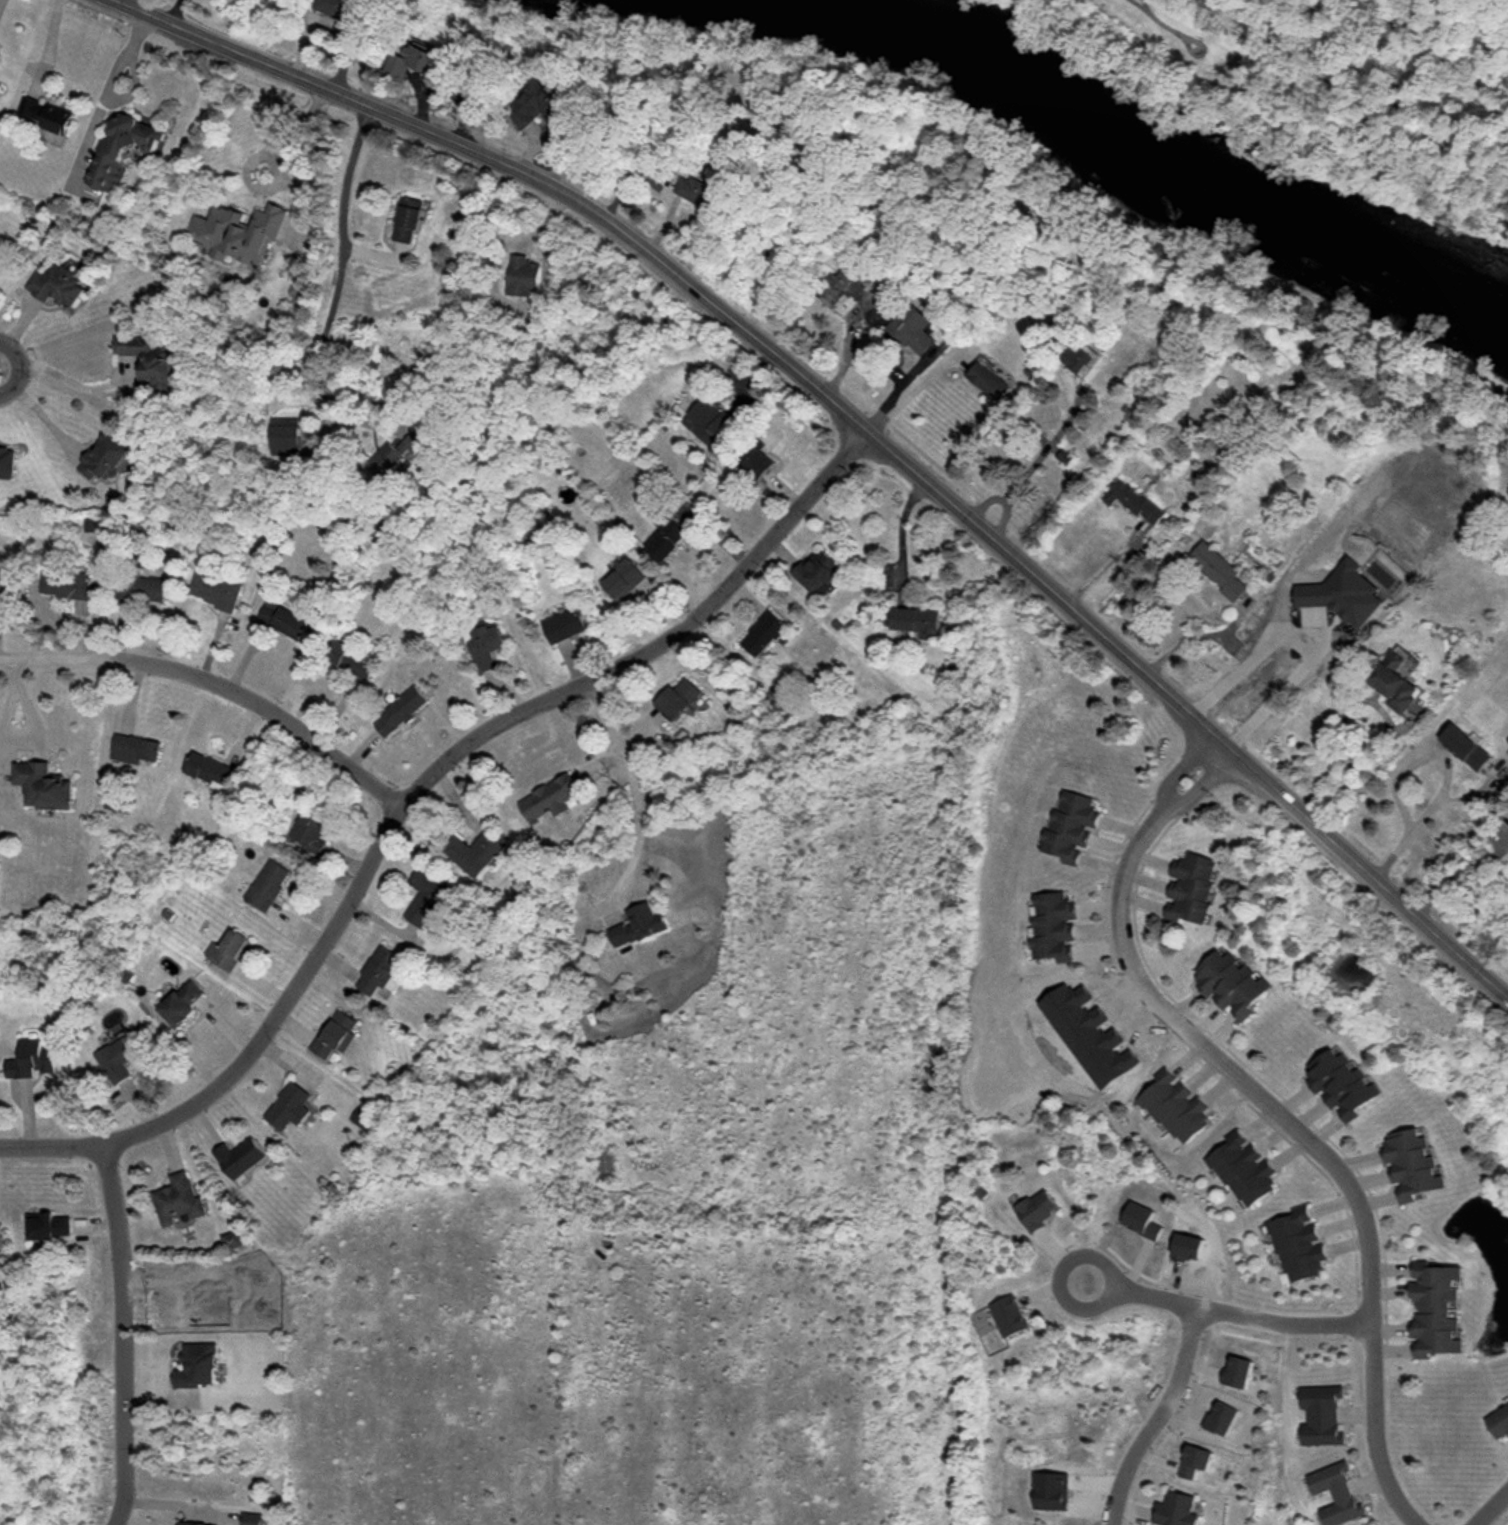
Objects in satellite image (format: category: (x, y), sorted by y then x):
road: (123, 2)
road: (175, 12)
building: (342, 16)
road: (47, 46)
park: (1190, 46)
building: (413, 63)
building: (534, 105)
building: (45, 116)
road: (288, 129)
building: (120, 150)
river: (1165, 157)
building: (701, 196)
building: (406, 220)
building: (237, 232)
road: (338, 262)
building: (523, 278)
building: (59, 287)
building: (297, 294)
building: (853, 294)
building: (911, 330)
building: (1074, 360)
building: (152, 361)
road: (62, 378)
building: (985, 380)
road: (919, 387)
road: (36, 411)
building: (709, 424)
road: (862, 424)
building: (282, 437)
road: (1045, 450)
building: (394, 456)
building: (107, 458)
building: (757, 459)
building: (8, 464)
road: (1003, 502)
building: (1132, 502)
building: (89, 524)
building: (671, 532)
road: (900, 533)
road: (1104, 565)
building: (1217, 571)
building: (820, 572)
building: (626, 581)
building: (66, 586)
building: (2, 587)
building: (143, 587)
building: (217, 591)
building: (1343, 594)
building: (287, 622)
building: (915, 622)
building: (567, 627)
building: (765, 635)
road: (1305, 645)
road: (1185, 646)
building: (488, 648)
building: (352, 661)
road: (214, 681)
building: (1392, 684)
building: (682, 699)
building: (403, 713)
road: (1387, 726)
road: (27, 732)
building: (1507, 740)
building: (1507, 742)
building: (1464, 748)
building: (137, 751)
road: (1176, 765)
building: (211, 772)
road: (1445, 780)
road: (1196, 784)
road: (410, 785)
building: (44, 787)
road: (632, 788)
building: (553, 800)
building: (310, 829)
building: (1067, 829)
building: (477, 852)
road: (1457, 874)
building: (269, 886)
building: (1190, 889)
building: (427, 896)
building: (1049, 925)
building: (639, 927)
building: (230, 952)
building: (382, 975)
building: (1230, 979)
building: (185, 1007)
building: (337, 1035)
building: (125, 1055)
building: (34, 1062)
building: (1337, 1083)
building: (1169, 1102)
building: (291, 1108)
building: (362, 1118)
road: (1302, 1137)
building: (242, 1158)
building: (608, 1168)
building: (1411, 1168)
building: (1238, 1169)
building: (181, 1202)
building: (1029, 1210)
building: (52, 1229)
building: (232, 1240)
building: (1296, 1242)
crop: (678, 1248)
road: (1152, 1296)
building: (1436, 1309)
building: (1003, 1313)
road: (119, 1333)
building: (200, 1367)
building: (1313, 1397)
road: (1153, 1416)
building: (1496, 1419)
building: (1314, 1432)
building: (1322, 1479)
building: (1051, 1491)
road: (1487, 1505)
building: (1168, 1509)
building: (1335, 1511)
building: (255, 1519)
building: (195, 1524)

